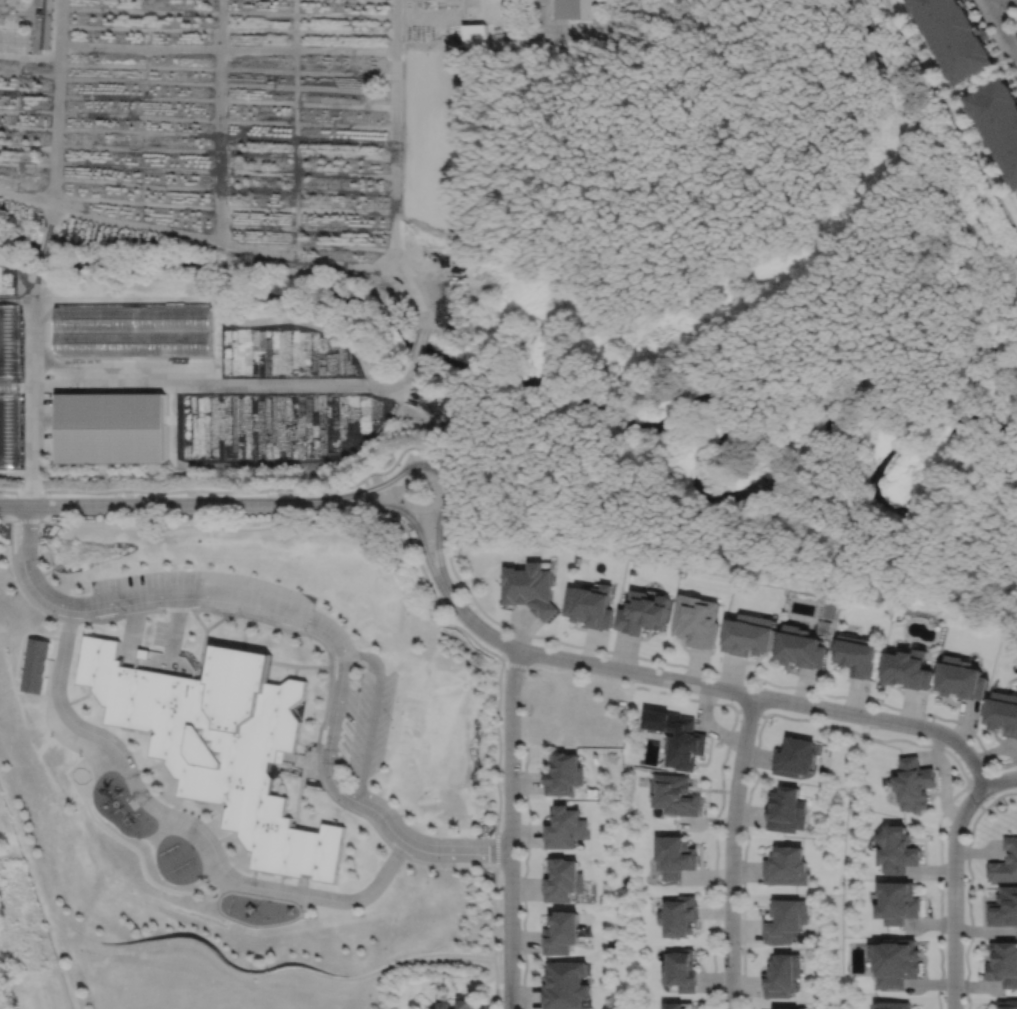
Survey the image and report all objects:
road: (993, 1)
building: (574, 9)
building: (45, 22)
road: (1001, 27)
building: (1016, 35)
building: (953, 37)
building: (998, 123)
road: (395, 166)
building: (134, 330)
road: (416, 343)
road: (32, 384)
road: (236, 385)
building: (110, 426)
building: (8, 429)
road: (275, 488)
road: (349, 495)
road: (370, 496)
road: (150, 504)
road: (398, 506)
road: (350, 507)
road: (213, 526)
road: (438, 549)
road: (425, 553)
building: (529, 588)
parking lot: (202, 594)
building: (589, 605)
building: (642, 613)
road: (321, 617)
road: (218, 621)
building: (695, 621)
road: (247, 622)
road: (311, 625)
road: (479, 626)
road: (174, 627)
road: (132, 633)
road: (304, 634)
building: (748, 635)
road: (23, 637)
road: (244, 640)
road: (204, 643)
building: (800, 648)
road: (24, 649)
road: (25, 655)
building: (857, 655)
building: (35, 666)
road: (300, 666)
road: (22, 670)
building: (907, 670)
road: (717, 671)
road: (296, 672)
building: (959, 680)
road: (47, 684)
road: (767, 697)
road: (79, 698)
road: (749, 711)
building: (1002, 714)
parking lot: (360, 721)
road: (845, 728)
road: (498, 737)
road: (729, 738)
building: (221, 745)
building: (684, 745)
building: (795, 758)
road: (300, 761)
road: (148, 767)
road: (980, 772)
building: (562, 774)
road: (1002, 780)
building: (914, 785)
road: (299, 795)
road: (355, 795)
building: (674, 796)
road: (974, 798)
building: (786, 811)
road: (187, 822)
road: (510, 828)
building: (563, 828)
road: (225, 838)
road: (122, 840)
road: (731, 851)
building: (898, 851)
building: (674, 858)
building: (1005, 864)
building: (786, 868)
road: (524, 876)
road: (254, 878)
building: (562, 881)
road: (281, 883)
road: (302, 884)
road: (968, 889)
road: (954, 891)
building: (899, 902)
building: (1003, 908)
building: (678, 916)
building: (784, 920)
building: (560, 931)
building: (895, 960)
building: (1003, 962)
building: (680, 969)
road: (379, 970)
building: (781, 974)
building: (563, 984)
building: (1007, 1004)
building: (677, 1005)
building: (891, 1005)
building: (465, 1006)
building: (446, 1007)
building: (789, 1008)

